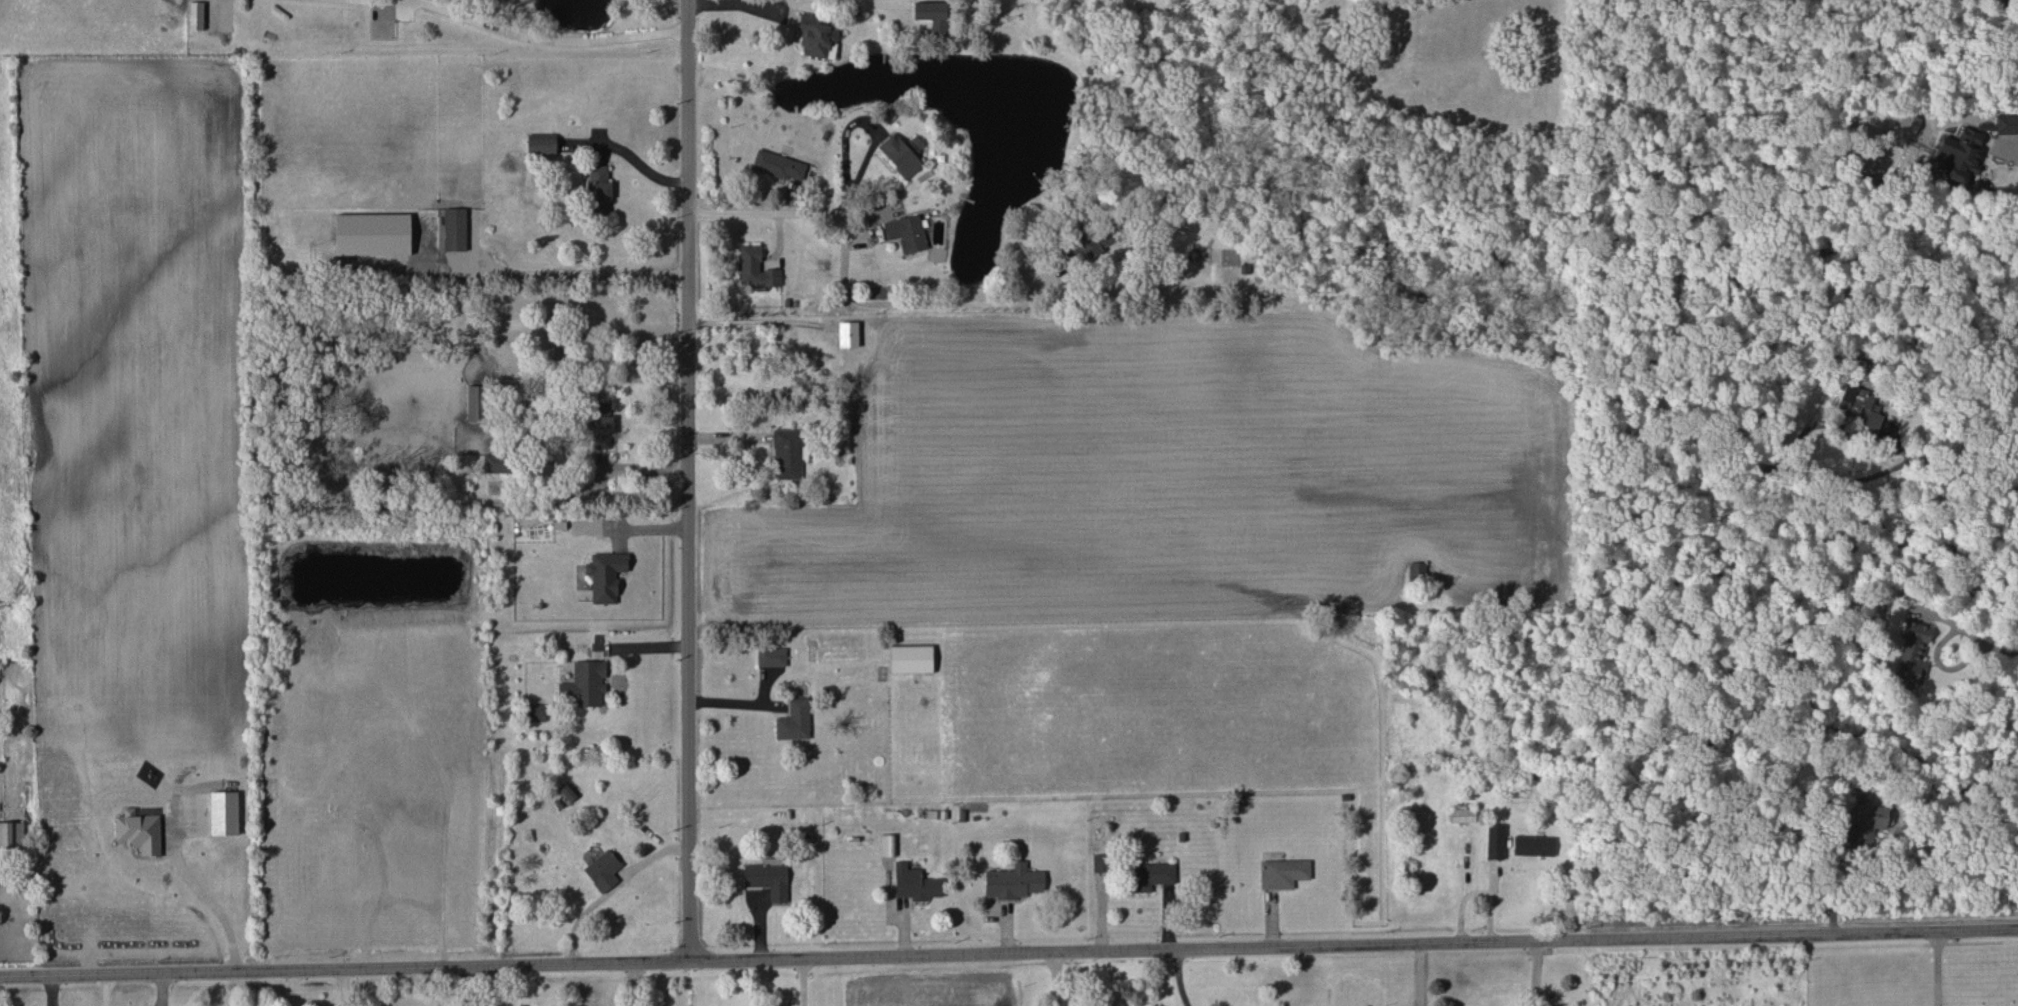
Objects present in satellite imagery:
road: (737, 6)
building: (932, 15)
building: (817, 37)
road: (548, 39)
building: (2006, 125)
road: (2013, 141)
building: (541, 144)
building: (902, 153)
building: (1959, 154)
building: (779, 166)
road: (640, 167)
building: (598, 189)
building: (455, 229)
building: (907, 233)
building: (756, 267)
road: (879, 332)
building: (476, 403)
building: (1861, 407)
building: (600, 426)
road: (1799, 448)
building: (787, 454)
building: (496, 463)
road: (1965, 470)
road: (688, 480)
building: (1417, 571)
building: (605, 575)
road: (1977, 639)
building: (1912, 653)
building: (771, 656)
building: (911, 659)
building: (584, 685)
building: (533, 713)
building: (794, 721)
building: (1462, 815)
building: (1868, 821)
building: (11, 836)
building: (1495, 841)
building: (1533, 845)
building: (603, 870)
building: (1283, 873)
building: (1150, 876)
building: (769, 878)
road: (1834, 880)
building: (1013, 882)
building: (915, 883)
road: (1481, 891)
road: (204, 898)
road: (1008, 953)
road: (1939, 968)
road: (1178, 978)
road: (1057, 979)
road: (632, 984)
road: (465, 986)
road: (343, 987)
road: (106, 990)

